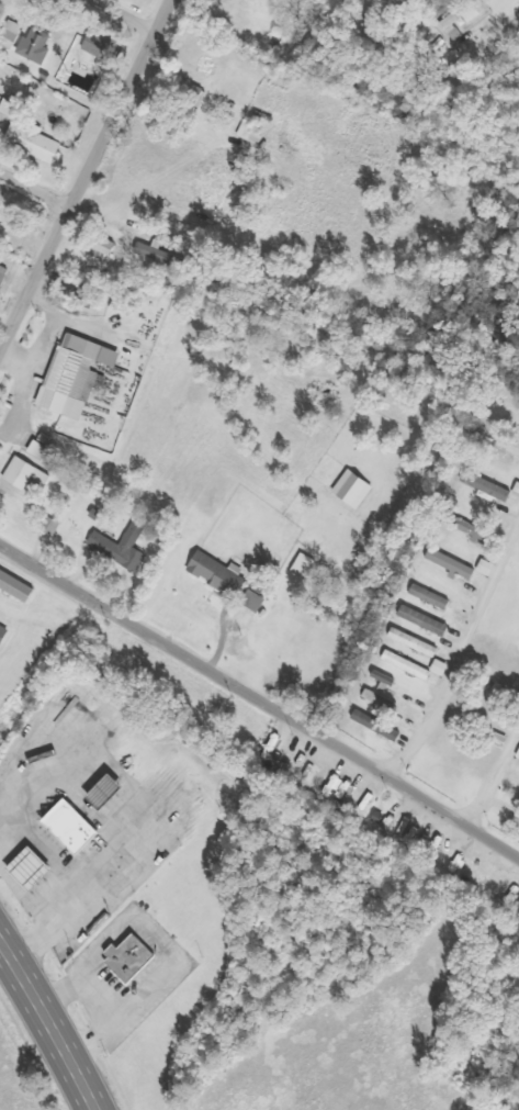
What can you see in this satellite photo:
building: (464, 16)
road: (115, 18)
building: (13, 34)
building: (37, 47)
building: (104, 48)
building: (190, 94)
building: (40, 141)
road: (87, 178)
road: (37, 189)
building: (106, 249)
building: (5, 276)
building: (94, 293)
building: (82, 375)
building: (31, 474)
building: (492, 487)
building: (361, 489)
building: (477, 529)
building: (128, 547)
building: (309, 565)
building: (459, 565)
building: (218, 571)
building: (21, 586)
building: (245, 586)
building: (435, 597)
building: (259, 602)
building: (430, 621)
building: (7, 632)
building: (420, 643)
railway: (259, 664)
building: (413, 666)
building: (447, 668)
building: (388, 682)
building: (385, 700)
road: (260, 704)
road: (477, 719)
building: (382, 726)
building: (80, 828)
building: (40, 871)
building: (137, 960)
road: (48, 1023)

